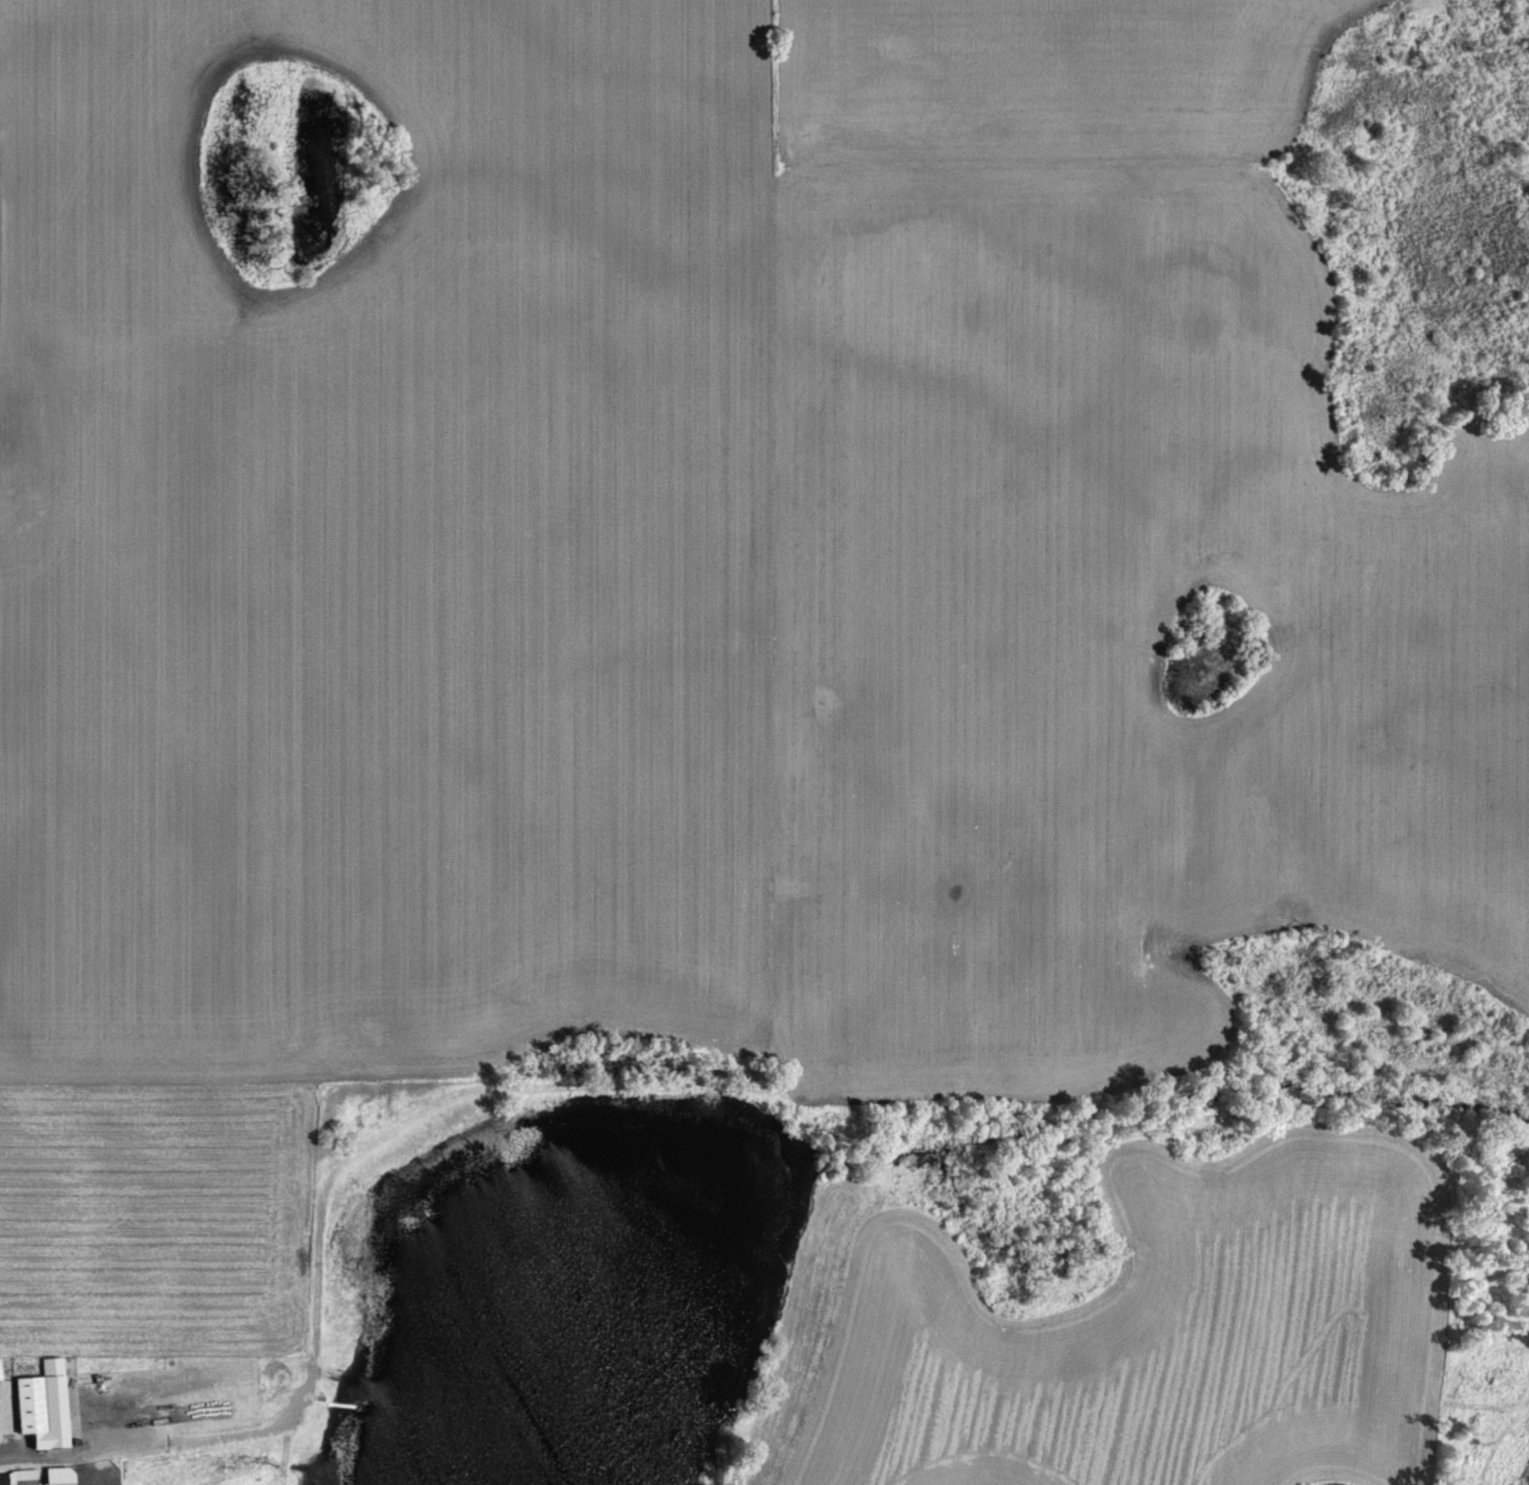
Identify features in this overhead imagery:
building: (1, 1369)
building: (46, 1405)
building: (62, 1476)
building: (19, 1478)

